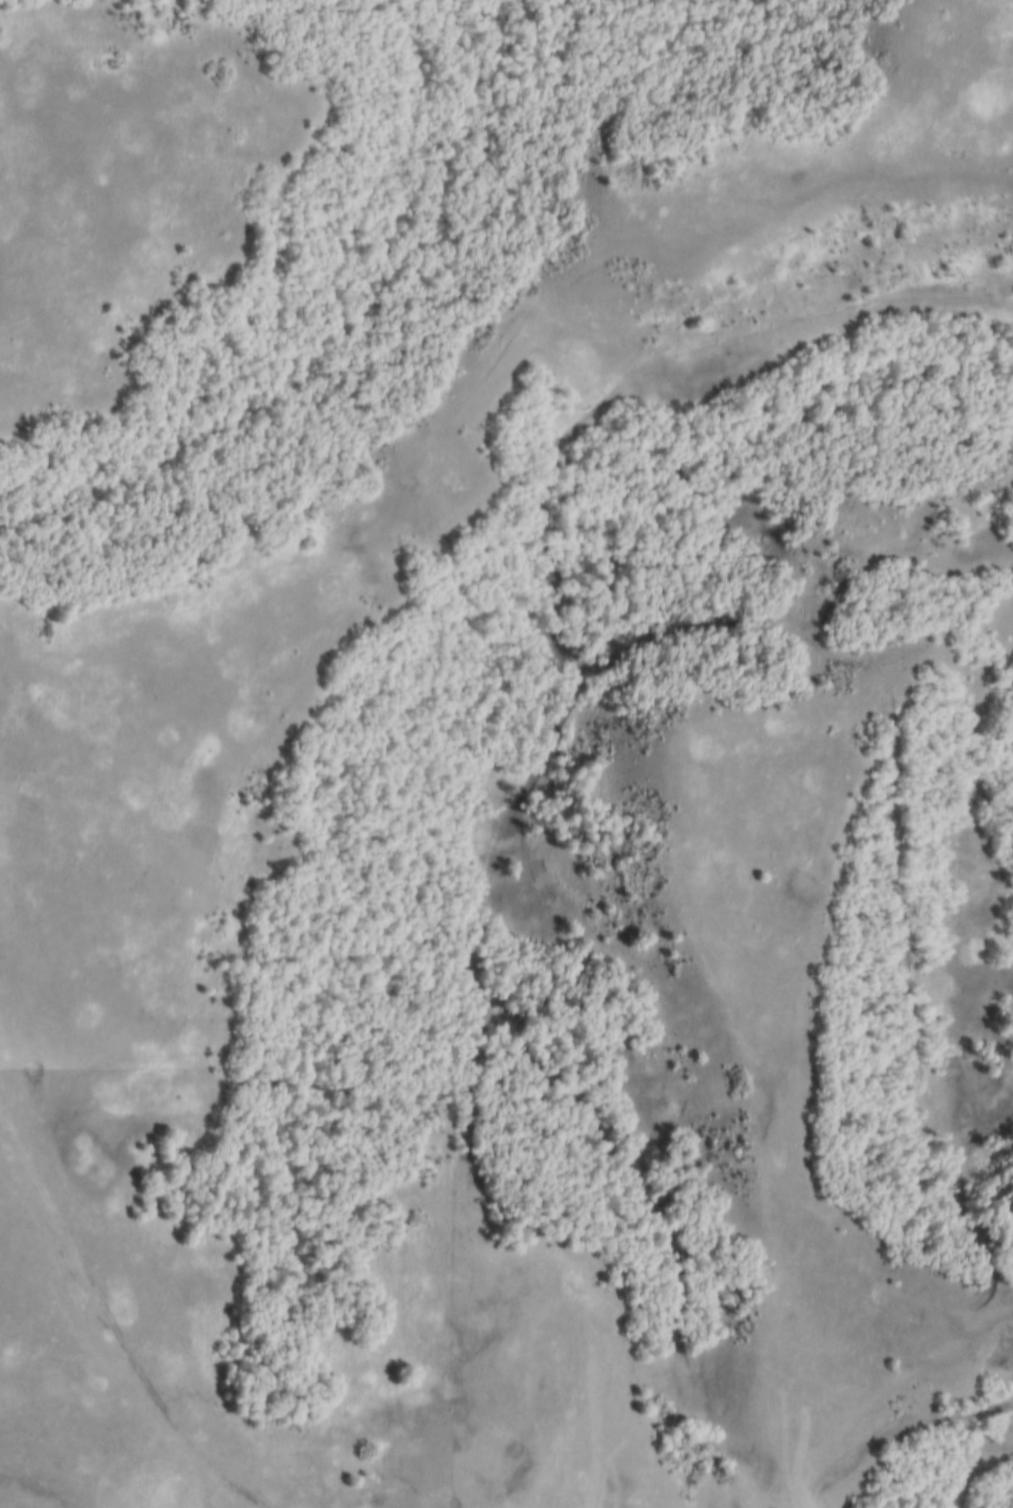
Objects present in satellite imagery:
road: (84, 1257)
road: (897, 1430)

